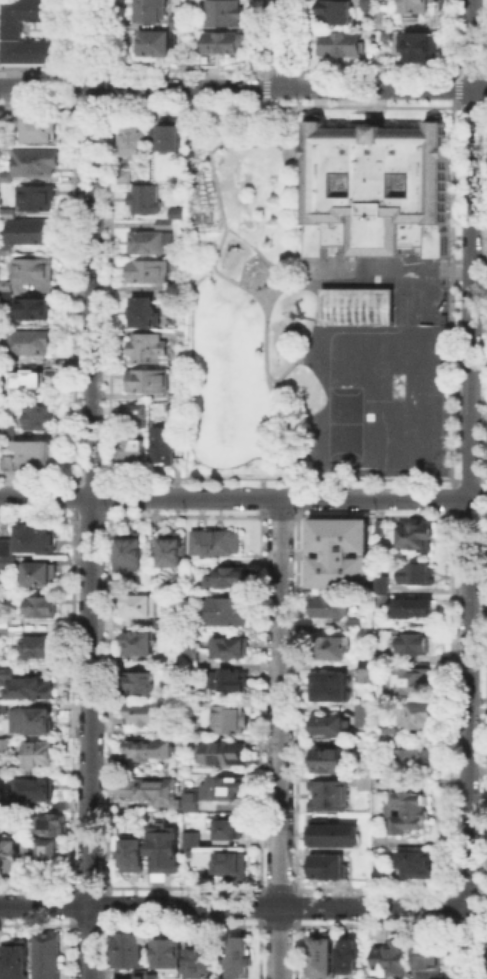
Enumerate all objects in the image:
building: (368, 3)
building: (415, 8)
building: (154, 10)
building: (334, 11)
building: (227, 14)
building: (183, 24)
building: (13, 31)
road: (283, 43)
building: (227, 44)
building: (342, 44)
road: (472, 44)
building: (158, 46)
building: (417, 47)
road: (243, 87)
building: (0, 114)
building: (39, 127)
building: (167, 133)
building: (9, 136)
building: (133, 138)
building: (34, 159)
building: (5, 174)
building: (121, 174)
building: (375, 189)
building: (34, 195)
building: (143, 197)
building: (7, 211)
building: (175, 211)
building: (163, 222)
building: (25, 230)
building: (147, 239)
road: (251, 245)
building: (5, 248)
building: (31, 268)
building: (147, 269)
building: (5, 284)
building: (176, 284)
road: (242, 286)
park: (239, 290)
road: (470, 293)
building: (5, 294)
building: (164, 294)
road: (269, 295)
building: (355, 304)
park: (355, 304)
building: (31, 307)
building: (142, 310)
road: (190, 316)
building: (28, 340)
building: (146, 346)
building: (24, 377)
building: (147, 379)
park: (221, 386)
building: (169, 395)
building: (136, 409)
building: (172, 410)
building: (37, 416)
building: (7, 428)
building: (161, 443)
building: (133, 448)
building: (33, 452)
building: (6, 461)
road: (92, 489)
road: (243, 497)
building: (35, 536)
building: (416, 538)
building: (213, 540)
building: (170, 547)
building: (129, 549)
building: (341, 554)
building: (8, 563)
building: (413, 572)
building: (40, 575)
building: (226, 576)
building: (177, 579)
building: (118, 581)
building: (381, 581)
building: (385, 601)
building: (138, 603)
building: (43, 607)
building: (226, 609)
building: (335, 609)
building: (415, 609)
building: (161, 621)
building: (358, 623)
building: (6, 628)
building: (367, 635)
building: (137, 641)
building: (229, 645)
building: (417, 645)
building: (43, 649)
building: (339, 649)
building: (191, 652)
building: (365, 668)
building: (8, 676)
building: (228, 678)
building: (137, 681)
building: (411, 682)
building: (329, 684)
building: (36, 689)
building: (4, 707)
building: (140, 715)
building: (228, 717)
building: (367, 717)
building: (423, 718)
building: (34, 722)
building: (335, 728)
building: (394, 735)
road: (280, 738)
road: (469, 739)
building: (145, 748)
building: (220, 751)
building: (40, 755)
building: (333, 762)
building: (420, 763)
building: (364, 783)
building: (222, 786)
building: (148, 789)
building: (38, 790)
building: (327, 792)
building: (190, 800)
building: (413, 813)
building: (49, 822)
building: (227, 827)
building: (337, 836)
building: (192, 837)
building: (20, 848)
building: (163, 848)
building: (45, 849)
building: (188, 851)
building: (131, 853)
building: (10, 855)
building: (230, 863)
building: (418, 863)
building: (331, 870)
road: (243, 906)
building: (132, 950)
building: (322, 953)
building: (170, 954)
building: (347, 954)
building: (50, 956)
building: (240, 957)
building: (201, 958)
building: (388, 958)
building: (14, 959)
building: (425, 961)
building: (140, 975)
building: (151, 975)

